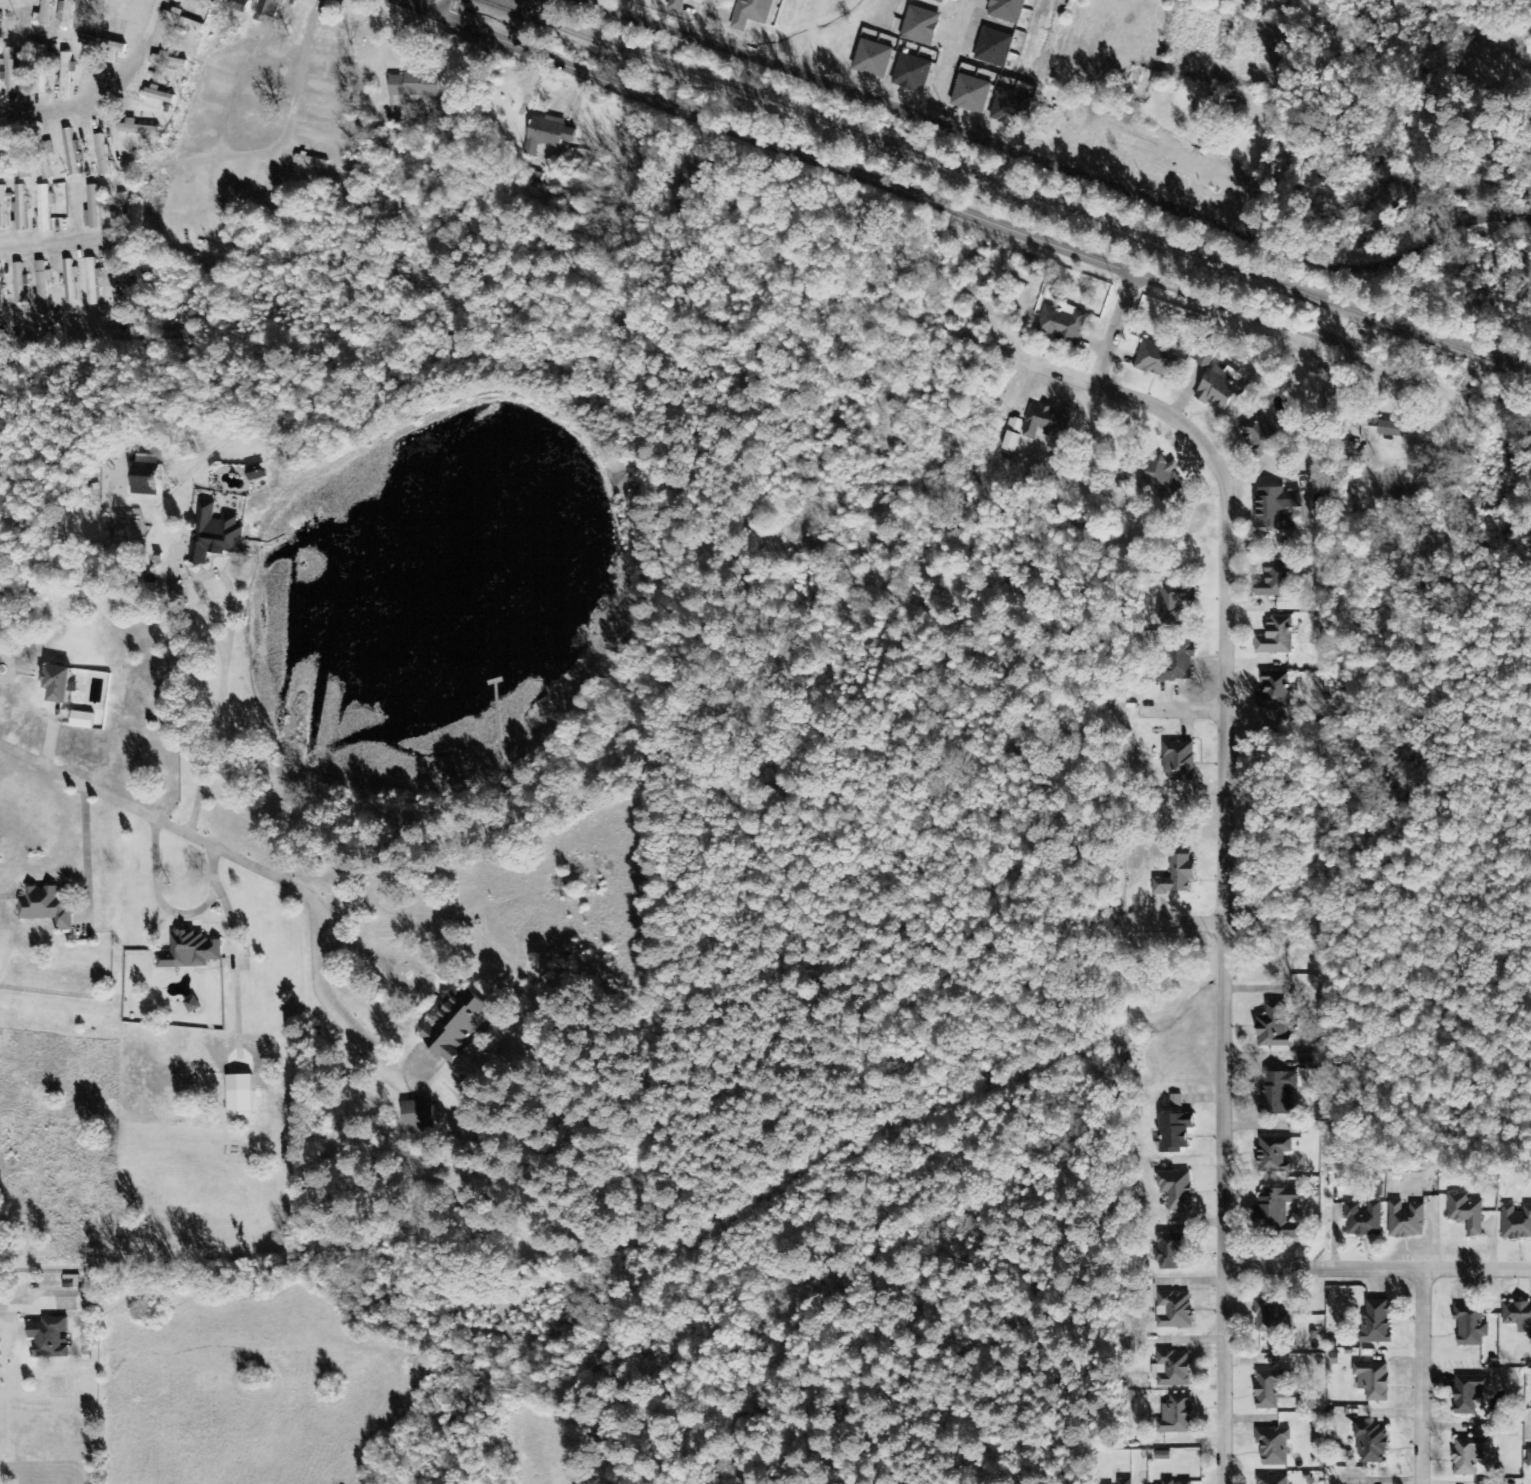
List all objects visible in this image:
building: (940, 1)
building: (246, 5)
building: (679, 6)
building: (272, 7)
road: (445, 9)
building: (1008, 10)
building: (69, 13)
building: (756, 13)
building: (46, 14)
building: (185, 21)
building: (922, 27)
building: (103, 44)
building: (995, 48)
building: (875, 60)
building: (171, 62)
building: (41, 69)
building: (11, 70)
building: (914, 73)
building: (68, 75)
building: (416, 86)
building: (973, 95)
building: (161, 96)
road: (113, 102)
building: (1012, 109)
building: (141, 131)
building: (550, 134)
road: (288, 140)
building: (575, 147)
building: (72, 153)
building: (104, 156)
building: (313, 162)
road: (1066, 163)
building: (46, 164)
road: (860, 173)
railway: (1003, 187)
building: (3, 208)
building: (94, 208)
building: (21, 209)
building: (46, 209)
building: (123, 213)
road: (52, 244)
building: (71, 281)
building: (95, 282)
building: (20, 284)
building: (1, 285)
building: (44, 286)
building: (1061, 325)
road: (1118, 330)
building: (179, 340)
building: (1205, 356)
building: (1153, 361)
building: (1216, 391)
building: (1044, 423)
building: (1378, 431)
building: (1255, 435)
building: (1010, 436)
building: (260, 473)
building: (153, 480)
building: (1160, 480)
building: (1273, 510)
building: (217, 536)
building: (1275, 588)
building: (1172, 605)
building: (1274, 638)
building: (1176, 664)
building: (63, 684)
building: (1271, 691)
road: (1185, 708)
building: (85, 721)
building: (1175, 762)
road: (178, 829)
road: (1227, 859)
building: (1172, 877)
building: (49, 908)
road: (1177, 924)
building: (193, 952)
building: (195, 1006)
building: (1270, 1028)
building: (1277, 1094)
building: (244, 1105)
building: (422, 1118)
building: (1171, 1134)
building: (1271, 1156)
building: (1173, 1192)
building: (1463, 1214)
building: (1272, 1215)
building: (1361, 1221)
building: (1403, 1221)
building: (1515, 1224)
building: (1166, 1253)
road: (1378, 1269)
building: (1172, 1311)
building: (1517, 1318)
building: (1270, 1319)
building: (1372, 1322)
building: (1467, 1327)
building: (53, 1339)
building: (1170, 1371)
road: (1422, 1377)
building: (1370, 1381)
building: (1267, 1390)
building: (1466, 1394)
building: (1174, 1416)
building: (1369, 1445)
building: (1270, 1447)
building: (1466, 1456)
building: (1528, 1459)
building: (1270, 1480)
building: (1122, 1482)
building: (1173, 1483)

